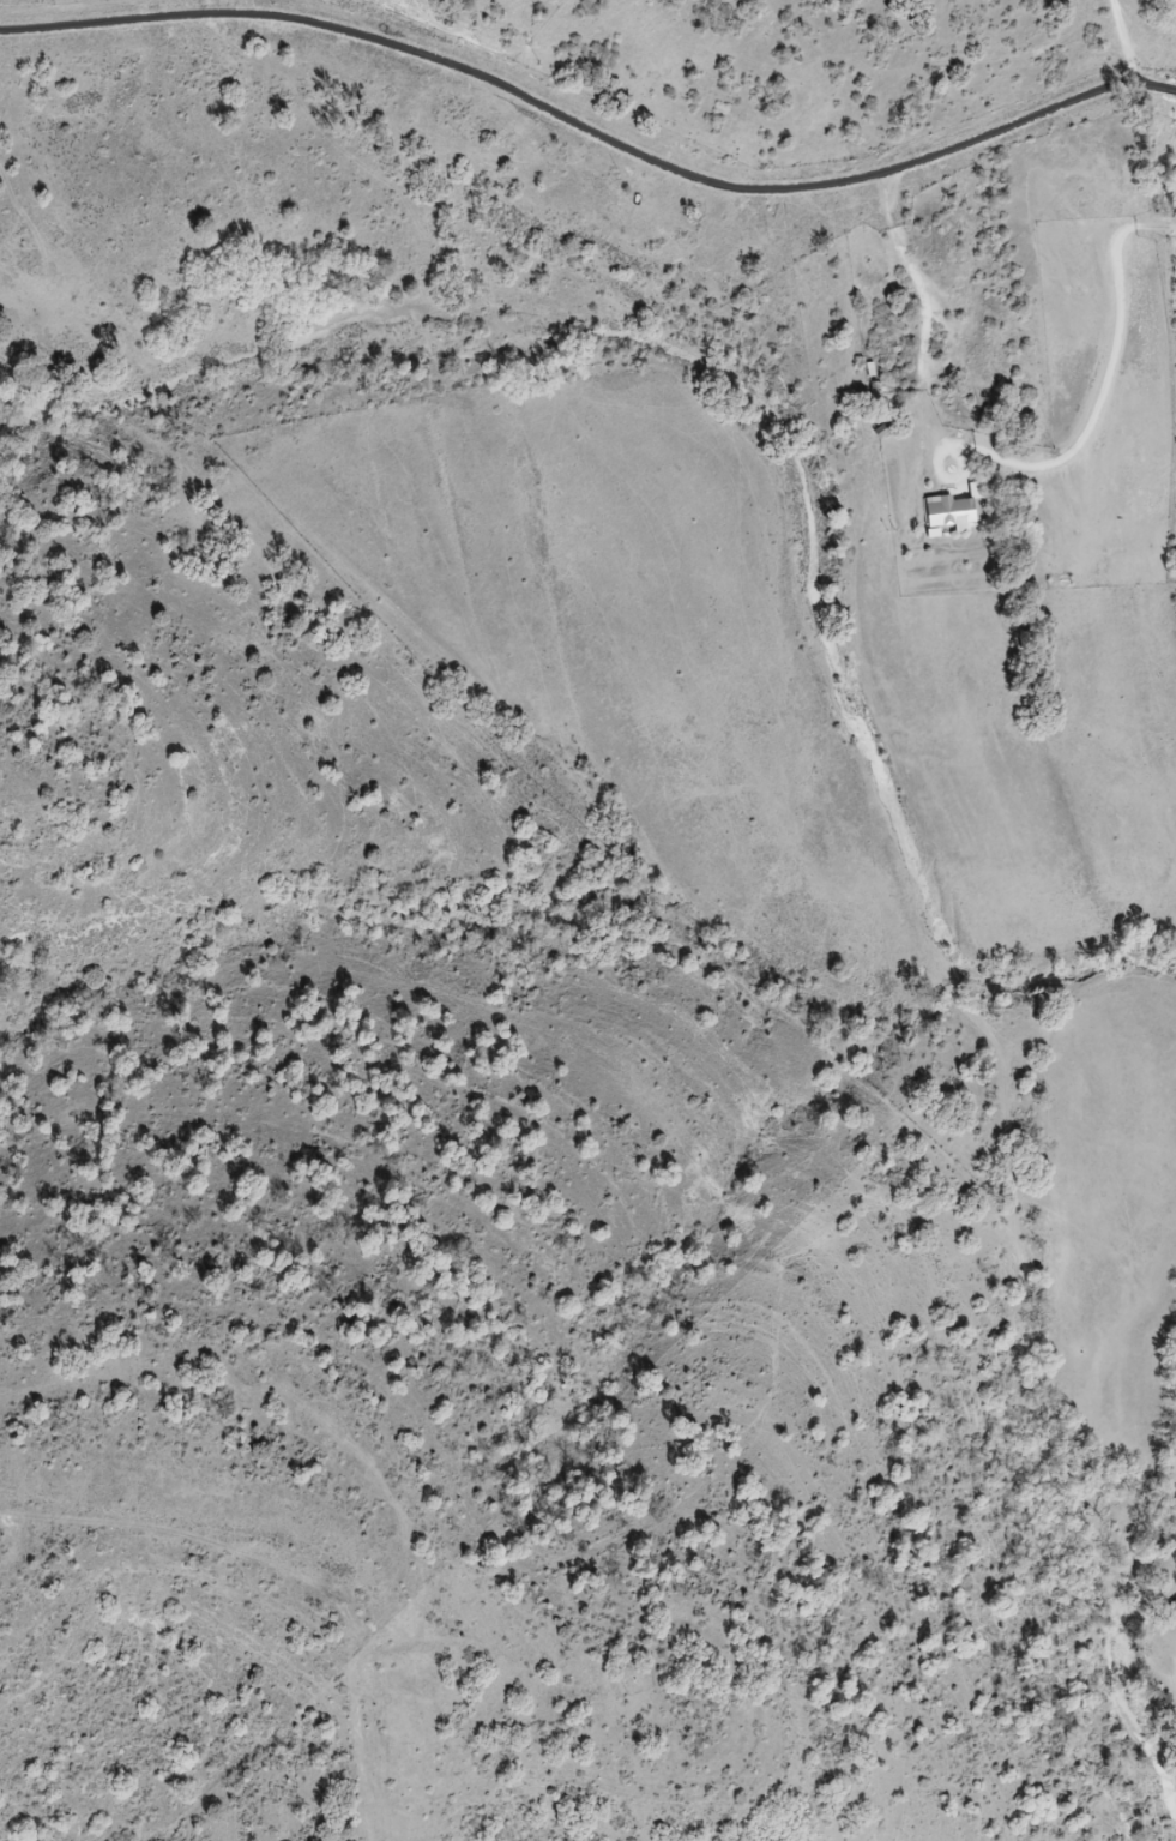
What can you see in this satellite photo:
road: (50, 4)
road: (754, 176)
road: (1112, 380)
building: (958, 513)

